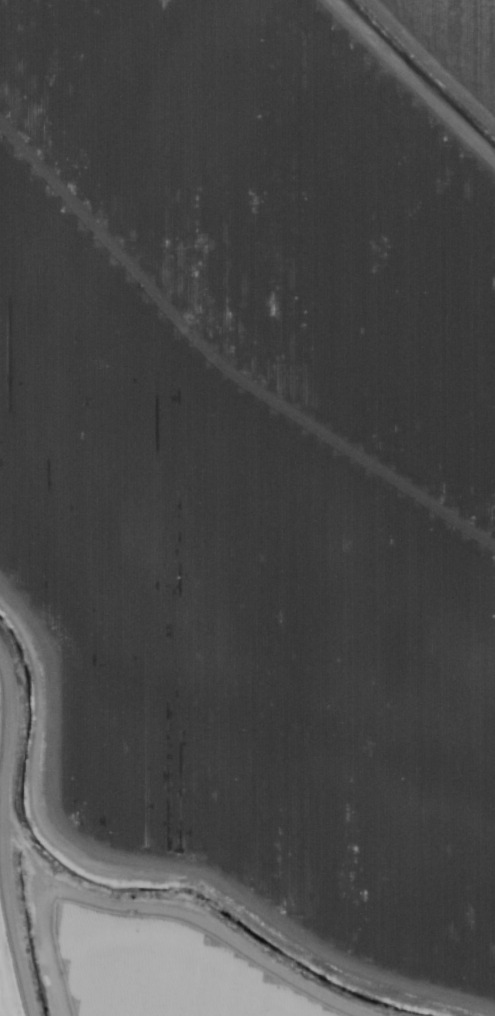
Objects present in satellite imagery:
crop: (463, 31)
crop: (424, 73)
crop: (253, 468)
crop: (17, 919)
crop: (139, 969)

